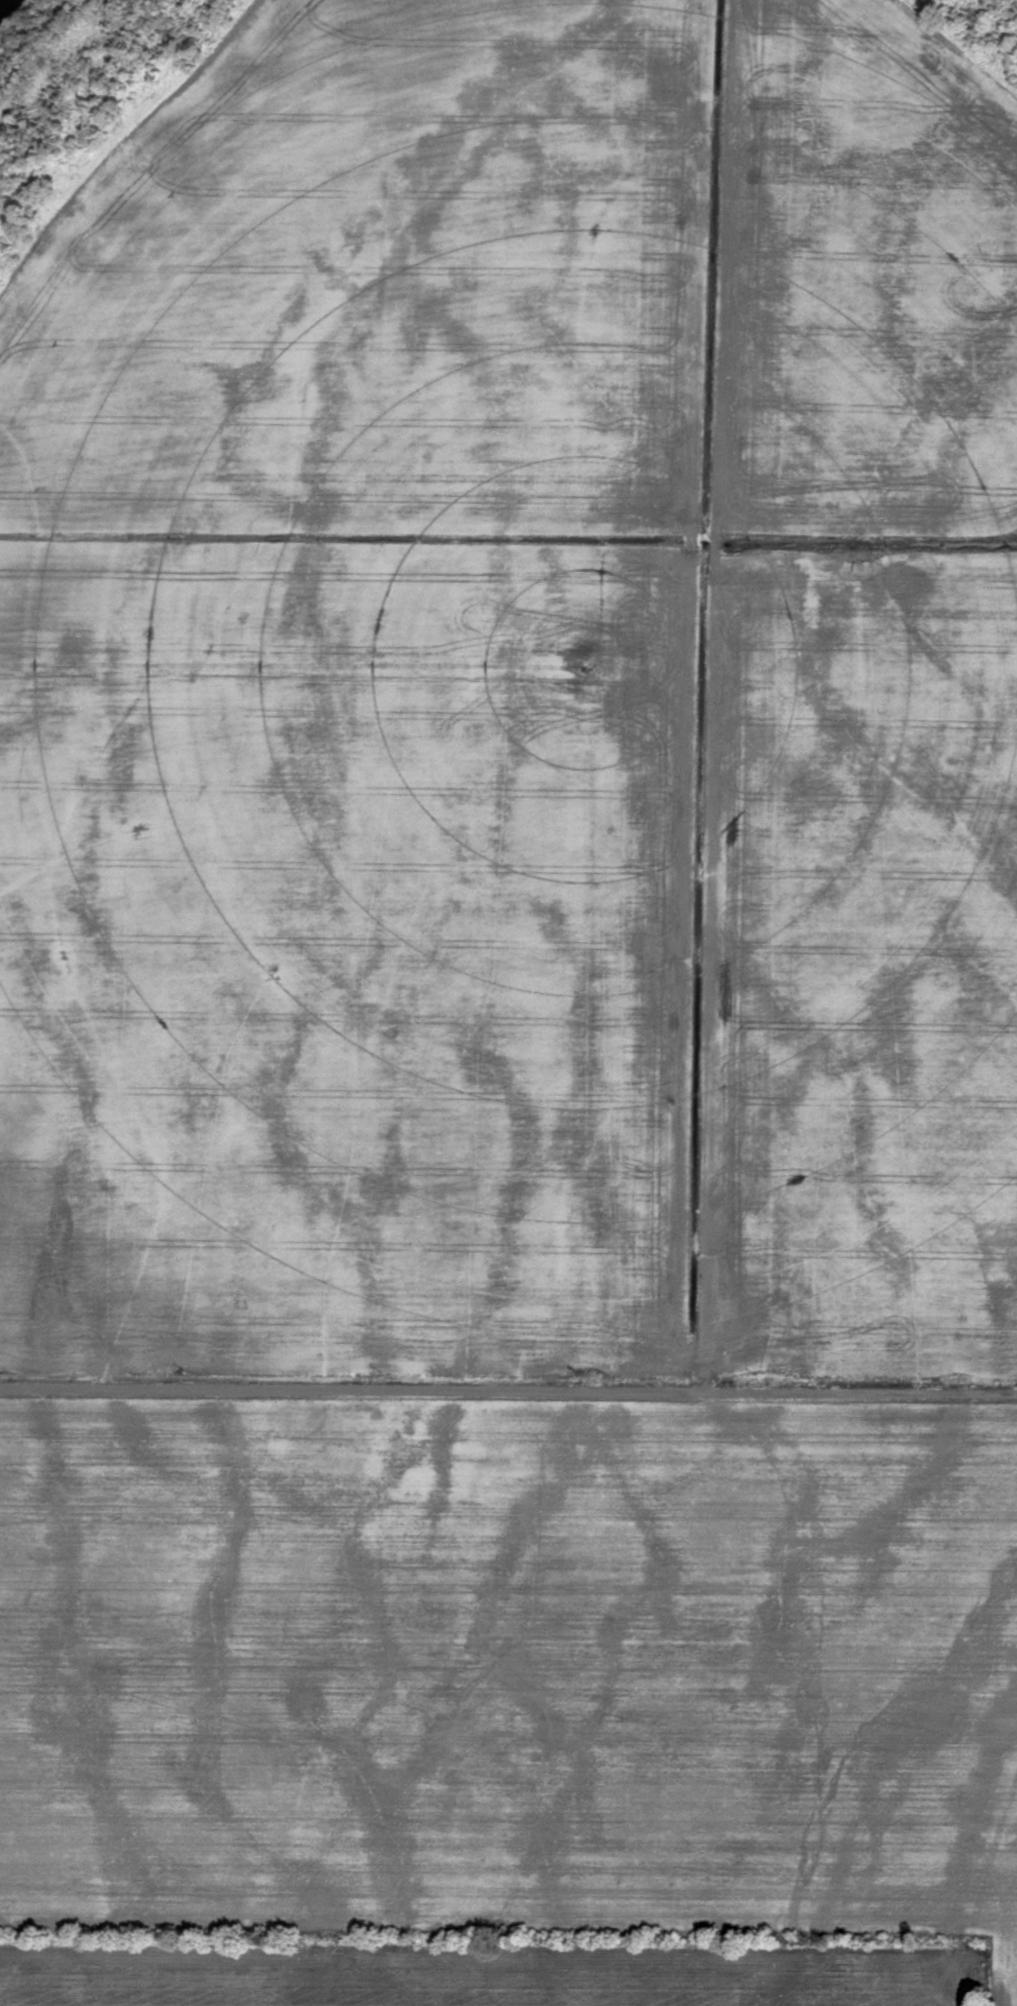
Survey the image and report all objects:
road: (508, 1388)

